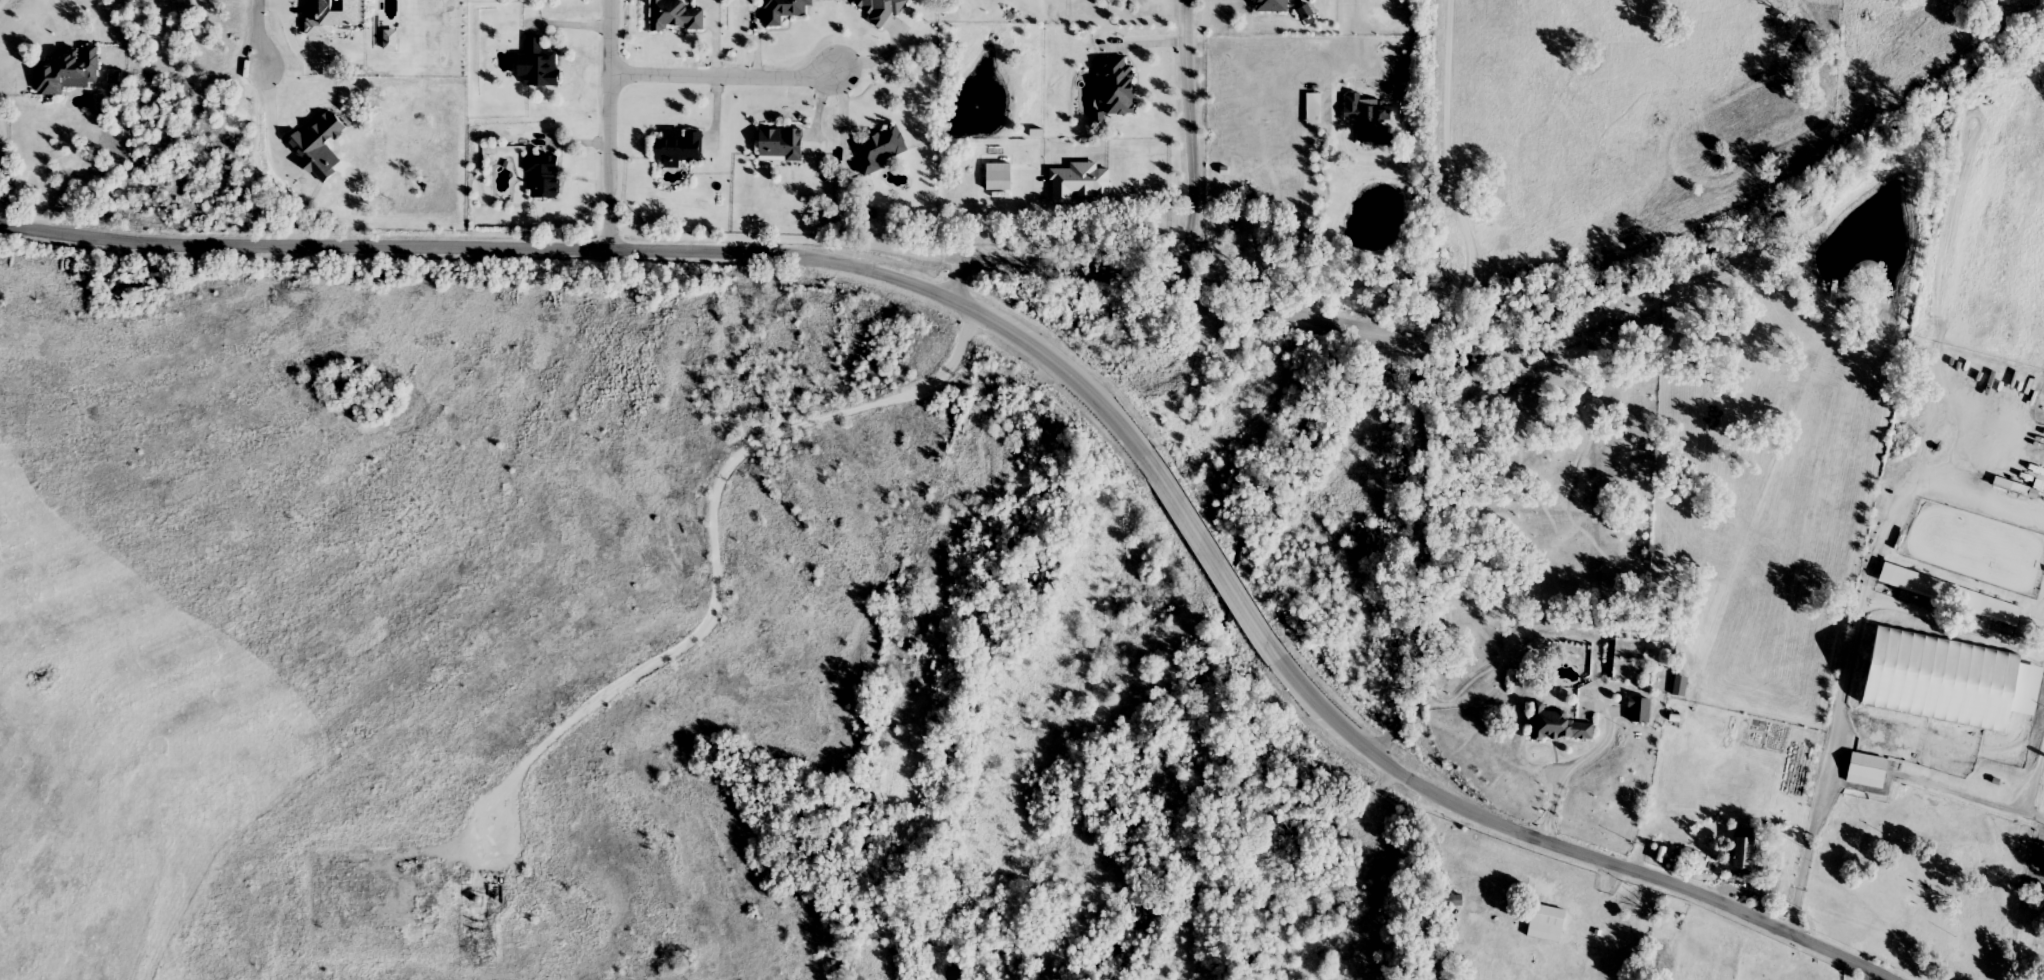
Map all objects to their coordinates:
building: (1269, 6)
building: (786, 11)
building: (882, 11)
building: (676, 17)
road: (263, 34)
building: (544, 66)
road: (726, 76)
building: (1120, 85)
building: (1315, 108)
road: (272, 115)
building: (1371, 118)
road: (845, 121)
road: (614, 123)
building: (783, 145)
building: (680, 146)
building: (879, 150)
building: (546, 176)
road: (1449, 181)
road: (1316, 223)
road: (1185, 269)
road: (1302, 314)
road: (1052, 357)
road: (707, 538)
building: (1953, 596)
road: (1855, 638)
building: (1951, 681)
building: (1641, 711)
building: (1560, 725)
road: (1582, 755)
building: (1868, 771)
road: (1961, 789)
road: (2024, 790)
building: (1744, 854)
building: (1549, 921)

